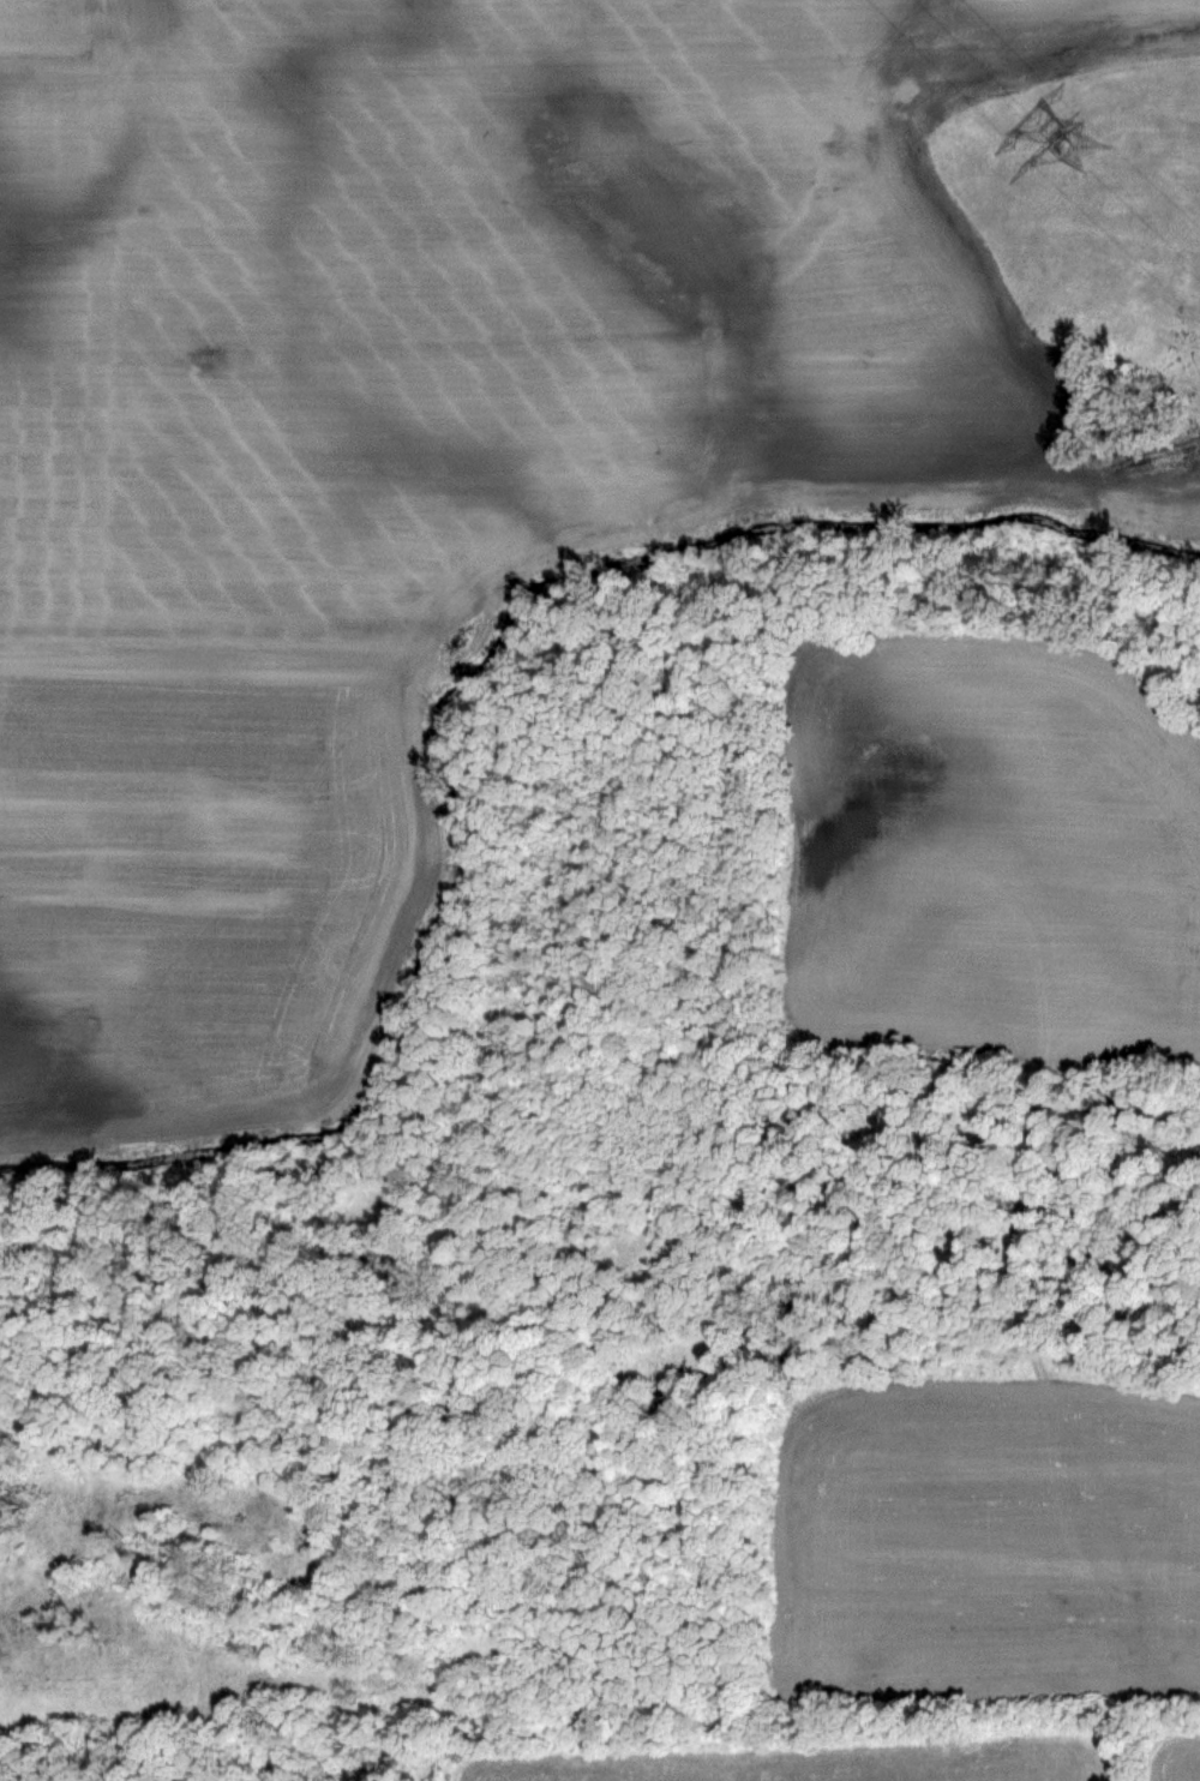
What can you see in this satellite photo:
power tower: (1080, 146)

